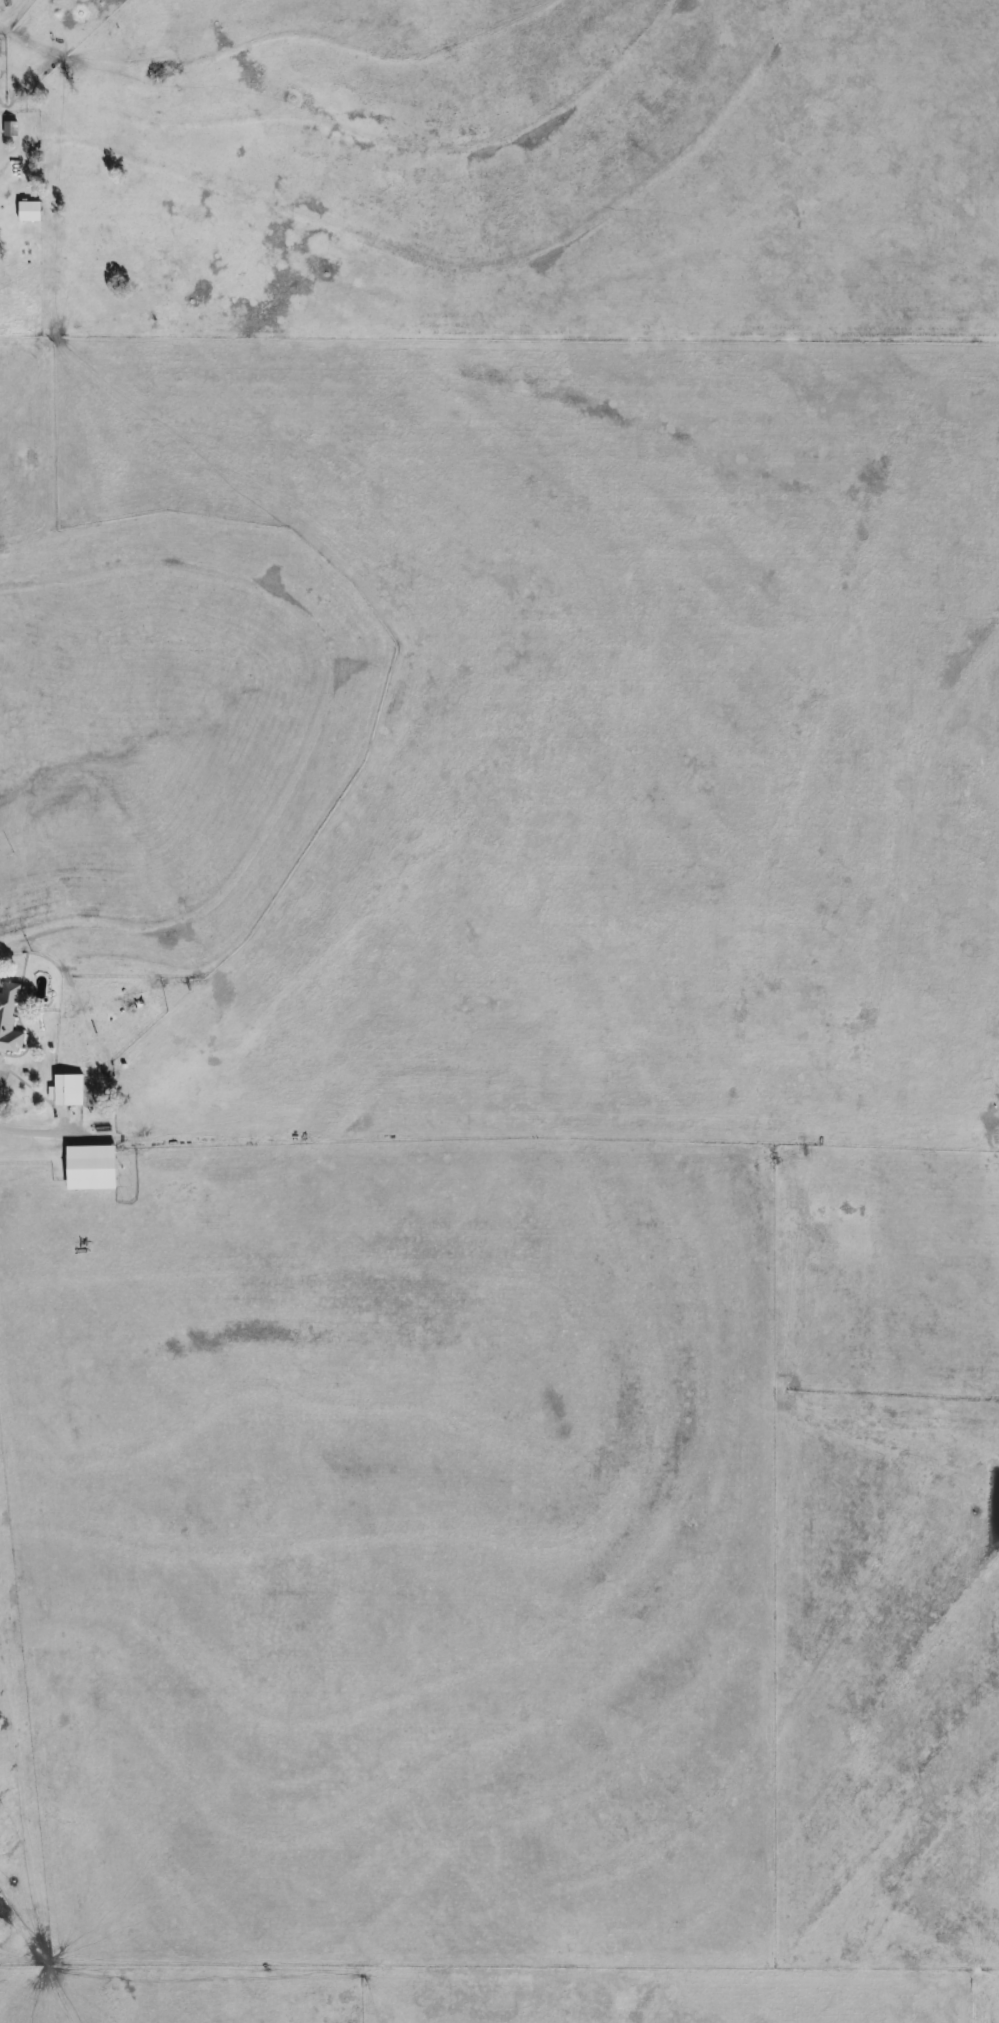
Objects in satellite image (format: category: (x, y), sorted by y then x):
building: (28, 211)
building: (9, 1019)
building: (67, 1089)
road: (36, 1133)

